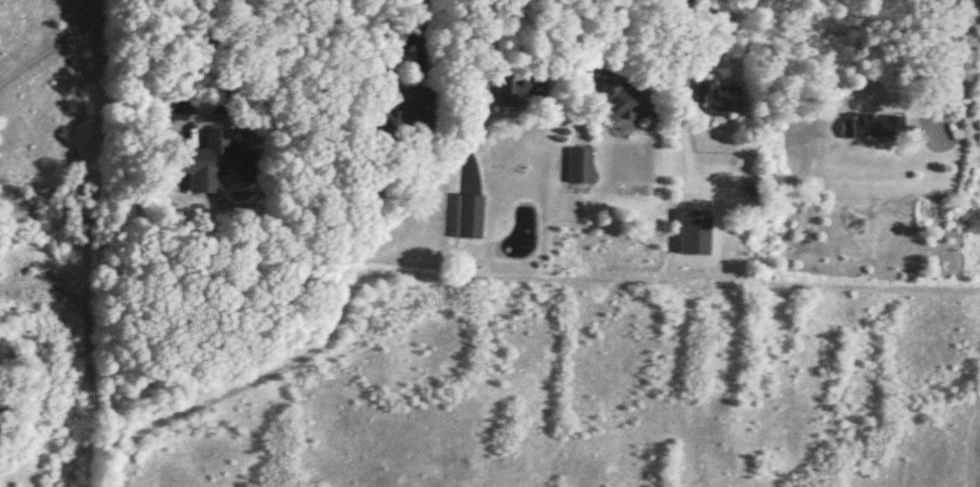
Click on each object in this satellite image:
road: (198, 12)
road: (420, 33)
road: (679, 52)
road: (939, 67)
building: (519, 90)
building: (720, 99)
building: (623, 101)
road: (199, 118)
building: (389, 119)
building: (872, 128)
building: (204, 162)
building: (581, 166)
building: (469, 198)
crop: (46, 240)
crop: (593, 390)

